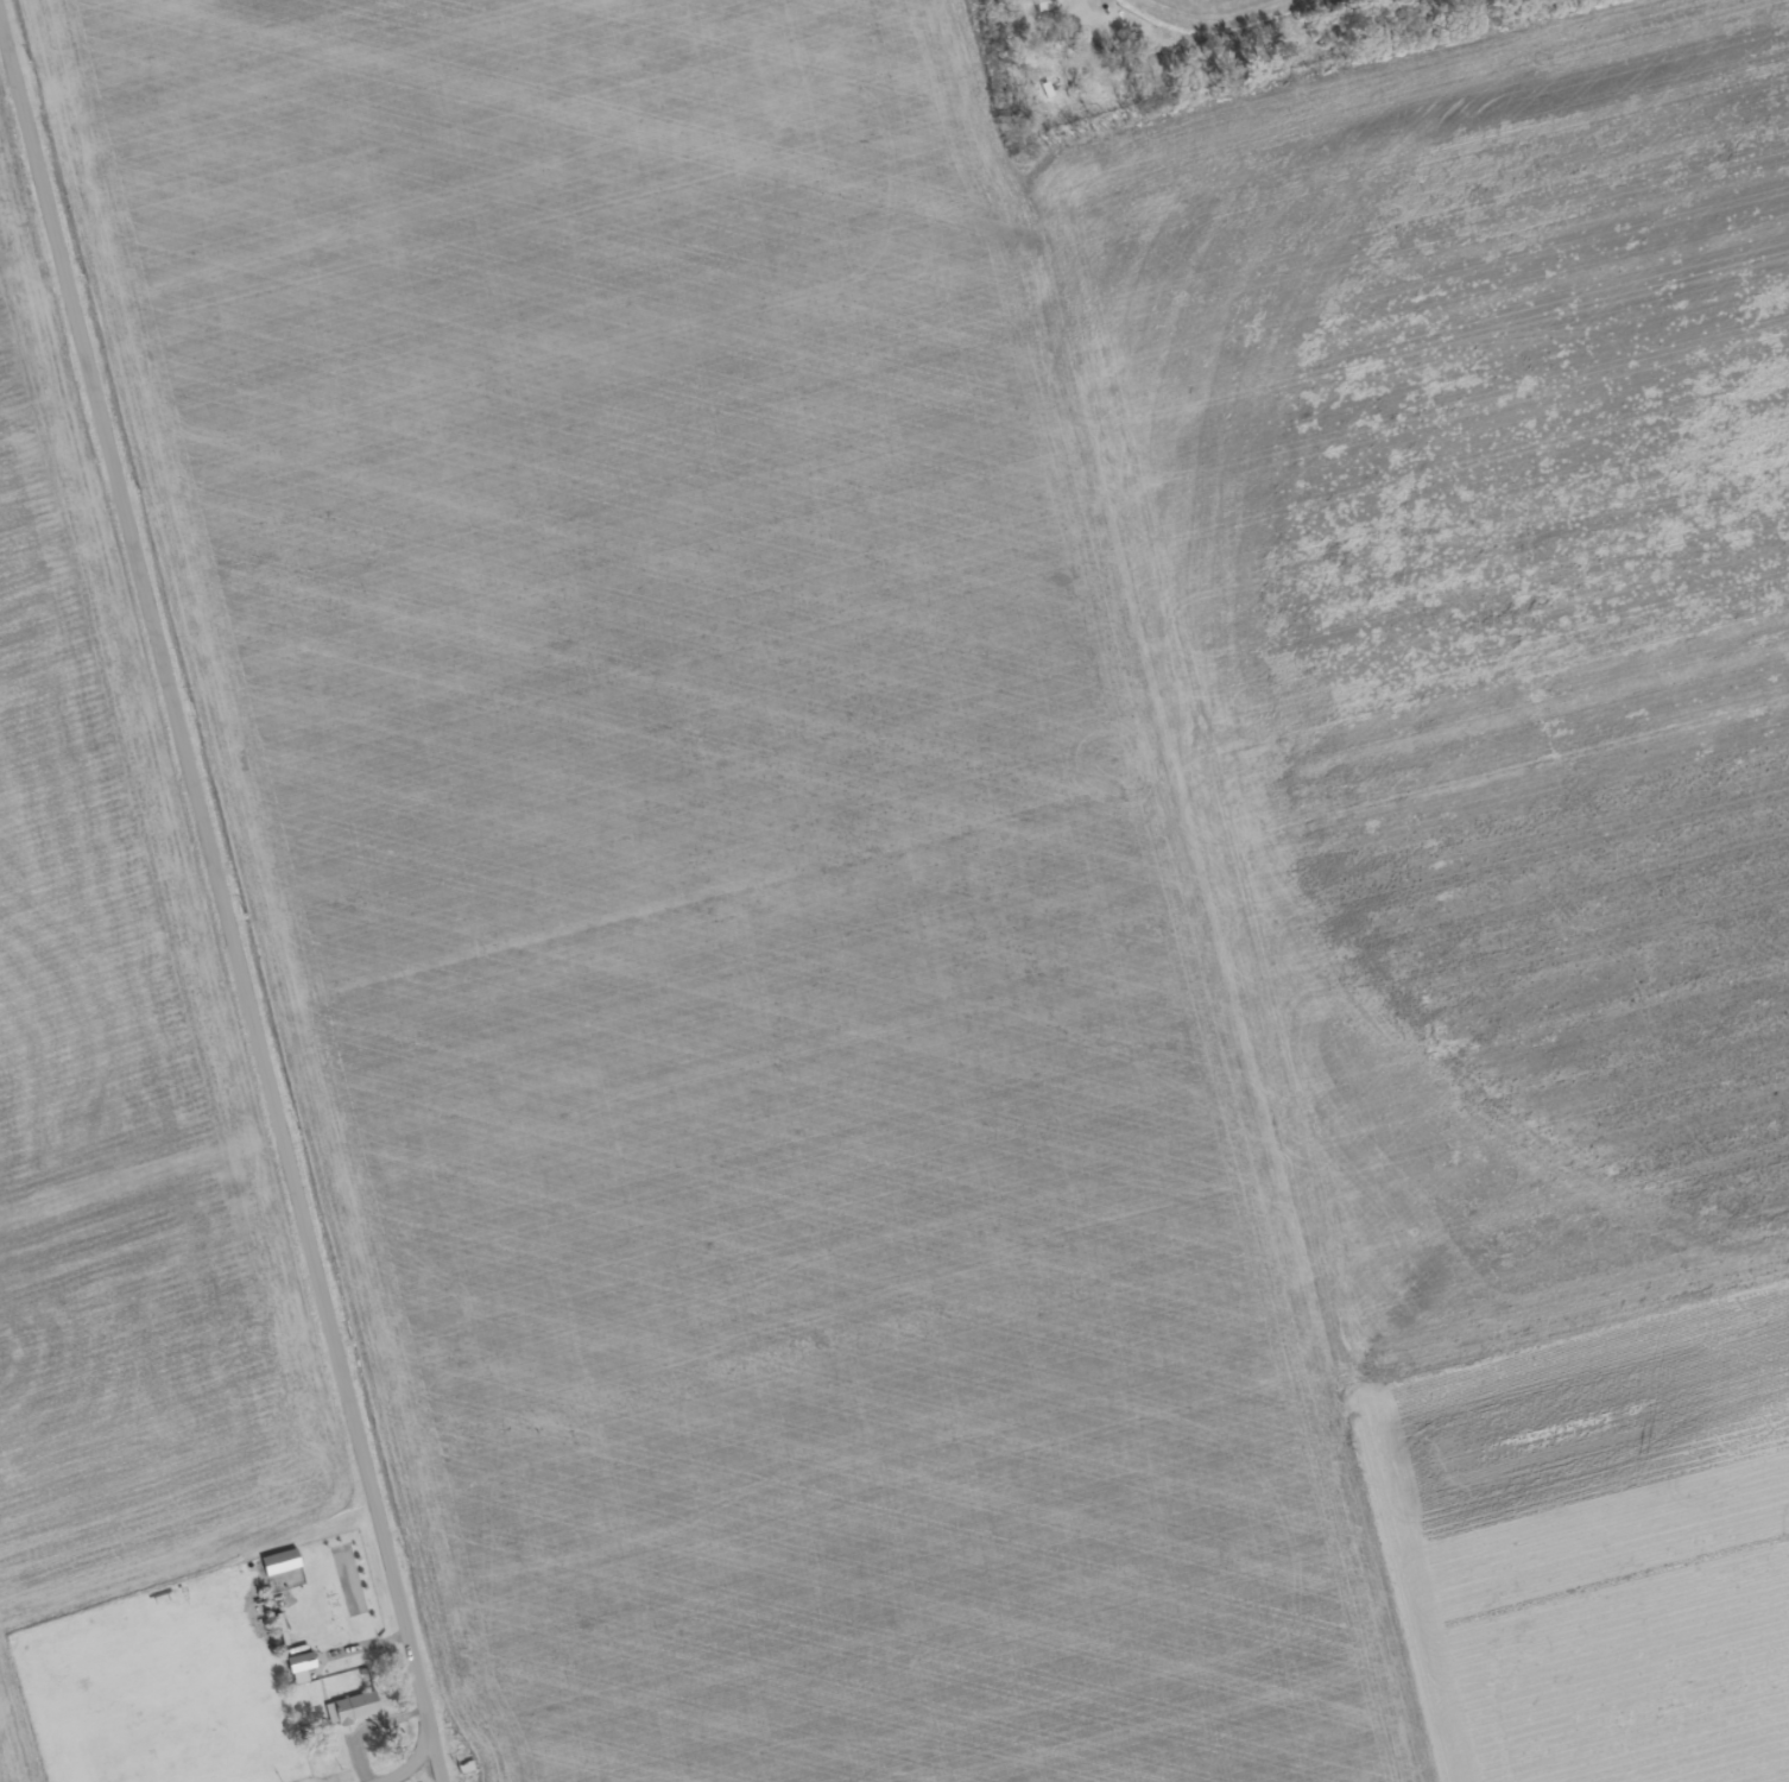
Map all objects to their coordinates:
road: (216, 905)
building: (283, 1562)
building: (303, 1663)
building: (356, 1708)

